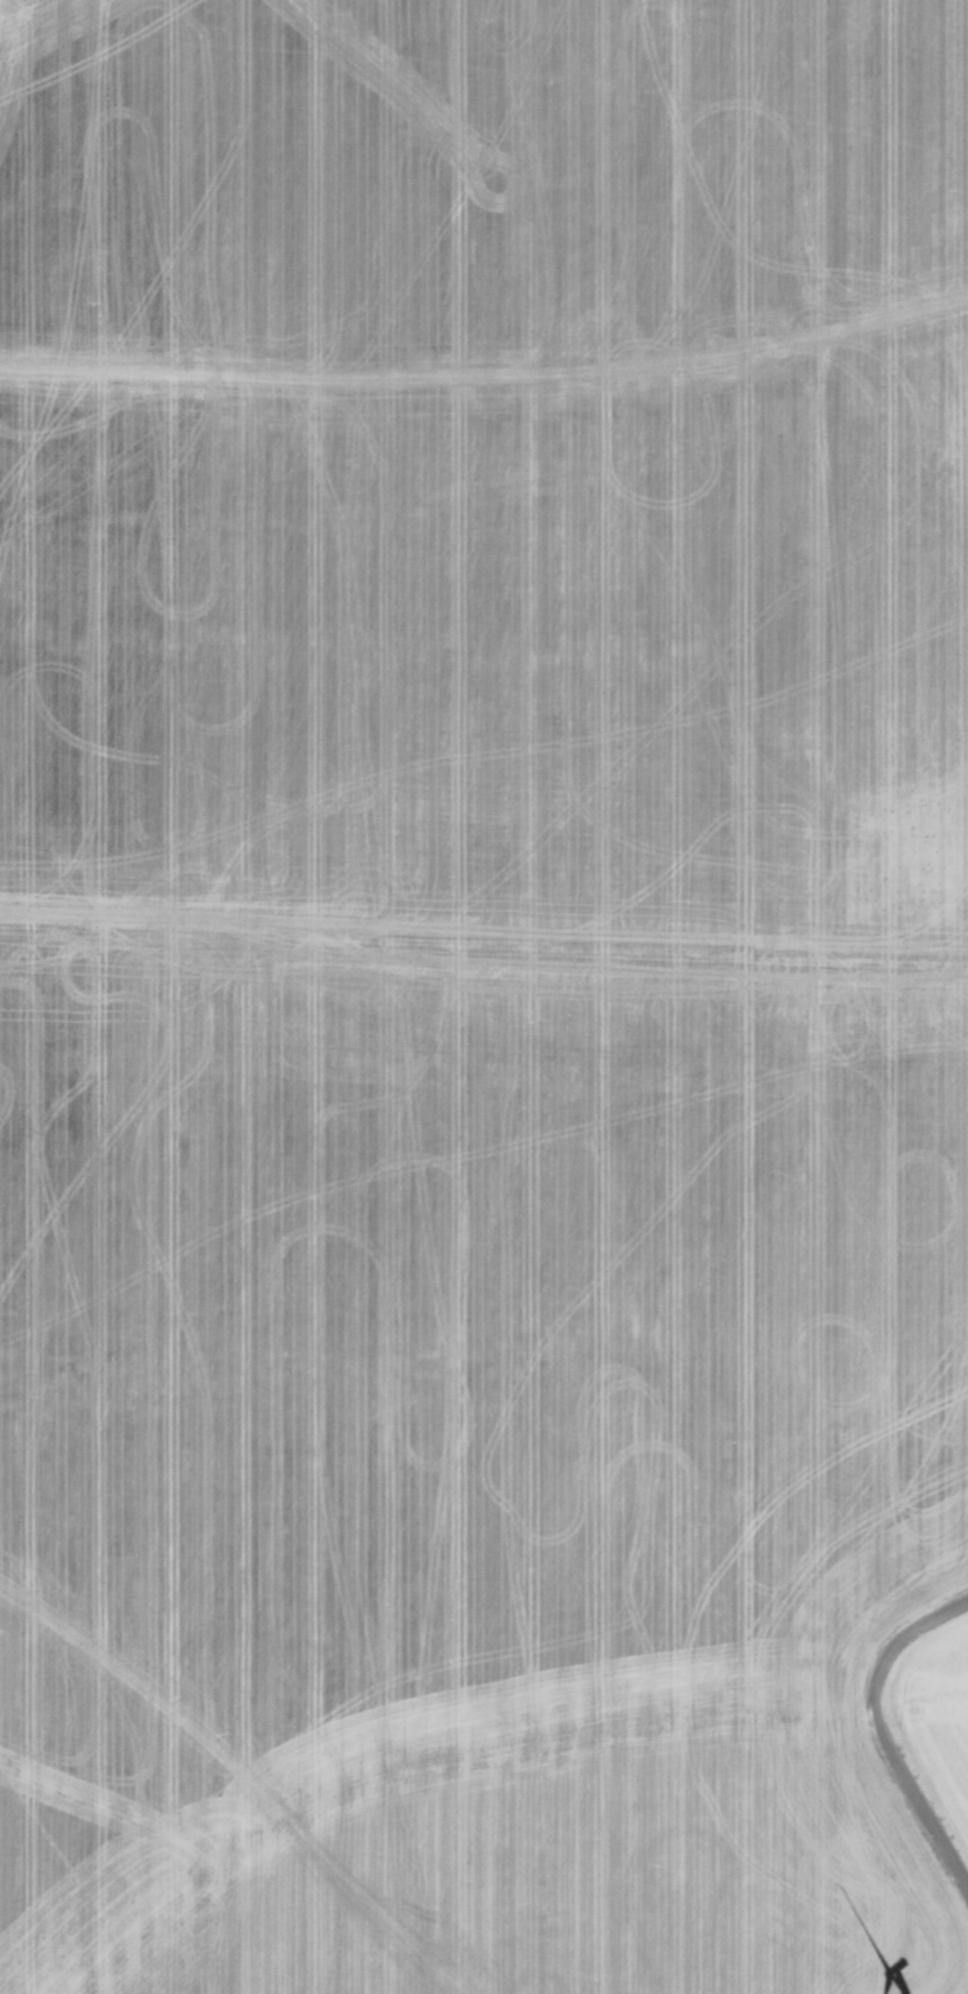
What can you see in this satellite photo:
road: (870, 1724)

